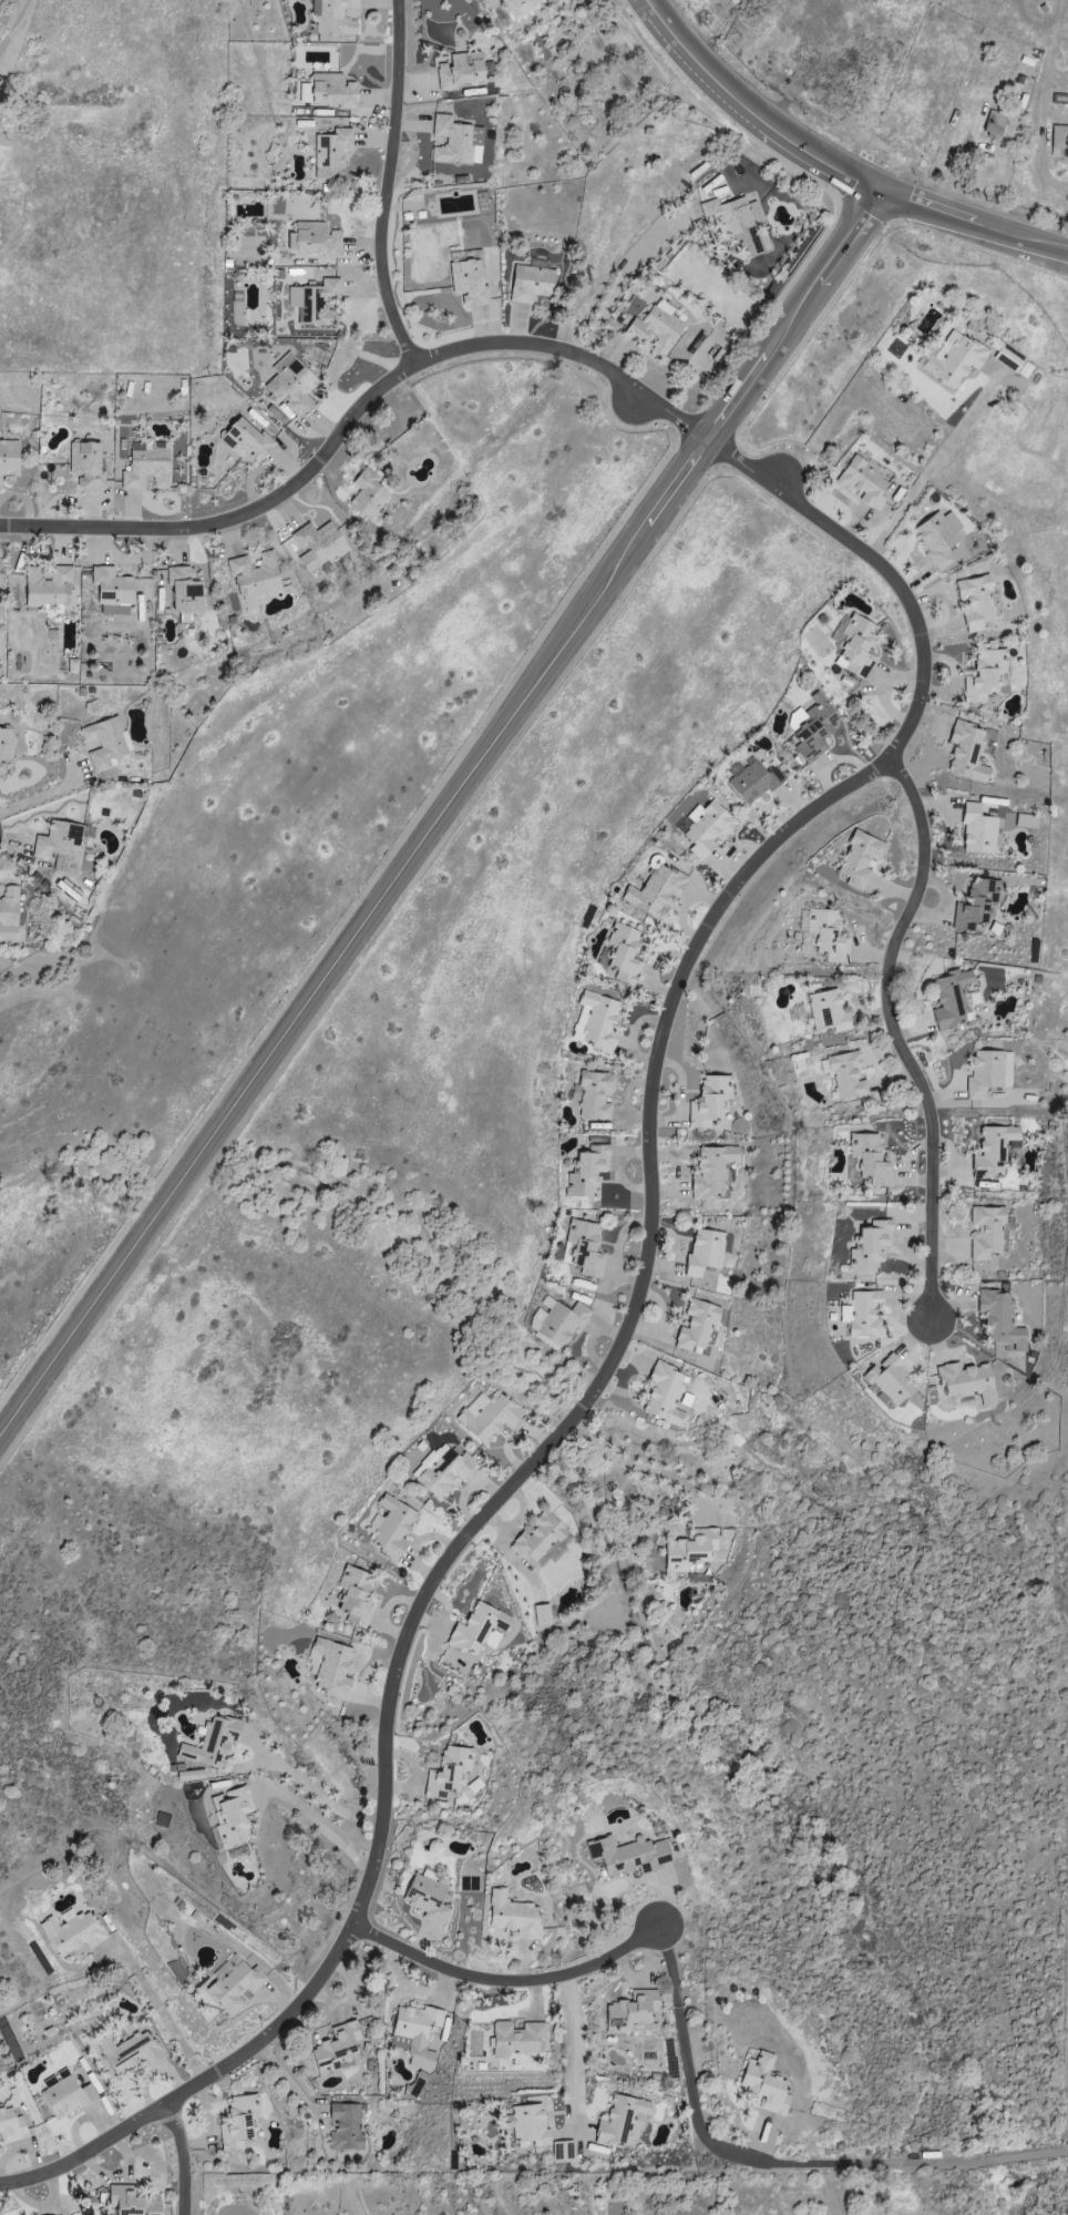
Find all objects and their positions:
building: (520, 7)
building: (332, 17)
road: (16, 40)
building: (458, 70)
building: (333, 91)
building: (994, 123)
building: (1059, 139)
building: (455, 141)
building: (330, 153)
road: (830, 167)
road: (386, 187)
building: (731, 224)
building: (316, 239)
building: (468, 283)
building: (530, 284)
building: (316, 304)
building: (656, 327)
building: (954, 359)
building: (290, 385)
road: (353, 417)
building: (246, 442)
building: (9, 459)
building: (85, 465)
building: (145, 467)
road: (921, 478)
building: (863, 483)
building: (367, 494)
building: (937, 538)
building: (317, 545)
building: (48, 586)
building: (111, 591)
building: (184, 591)
building: (975, 603)
building: (856, 646)
building: (71, 667)
building: (812, 727)
building: (103, 743)
building: (4, 747)
building: (967, 753)
building: (752, 783)
road: (51, 793)
road: (438, 816)
building: (1026, 821)
building: (706, 828)
building: (977, 830)
building: (60, 846)
building: (859, 859)
building: (654, 862)
building: (655, 891)
building: (975, 905)
building: (9, 909)
building: (828, 936)
building: (623, 953)
building: (952, 999)
building: (828, 1012)
building: (599, 1022)
road: (894, 1039)
building: (988, 1073)
building: (846, 1075)
building: (594, 1094)
building: (710, 1100)
building: (993, 1151)
building: (870, 1158)
building: (586, 1171)
building: (711, 1171)
building: (986, 1232)
building: (869, 1246)
building: (584, 1247)
building: (704, 1252)
building: (861, 1314)
building: (999, 1318)
building: (558, 1321)
building: (697, 1325)
road: (620, 1341)
building: (891, 1380)
building: (967, 1381)
building: (664, 1394)
building: (487, 1416)
road: (641, 1464)
building: (441, 1471)
building: (392, 1527)
building: (537, 1537)
building: (689, 1551)
building: (355, 1596)
building: (542, 1615)
building: (477, 1629)
building: (331, 1667)
building: (212, 1742)
building: (448, 1772)
building: (189, 1775)
road: (309, 1788)
road: (316, 1818)
building: (628, 1856)
building: (427, 1899)
building: (513, 1916)
building: (72, 1933)
road: (504, 1983)
building: (235, 1986)
building: (630, 2011)
road: (157, 2012)
building: (414, 2034)
building: (515, 2039)
building: (336, 2049)
building: (129, 2052)
road: (568, 2052)
road: (294, 2083)
building: (764, 2083)
building: (64, 2093)
building: (619, 2121)
building: (238, 2122)
building: (530, 2124)
building: (10, 2126)
building: (345, 2129)
road: (181, 2156)
road: (773, 2164)
building: (131, 2202)

